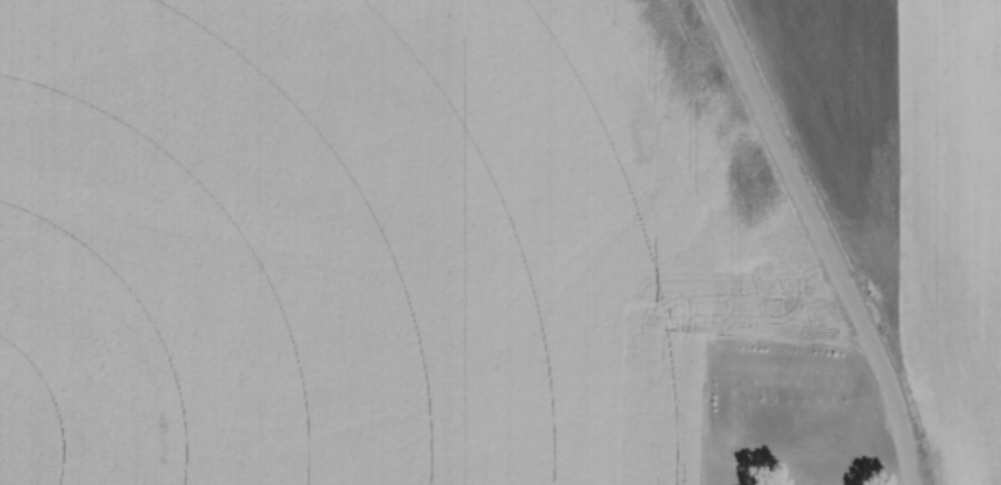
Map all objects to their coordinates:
road: (822, 238)
building: (717, 475)

